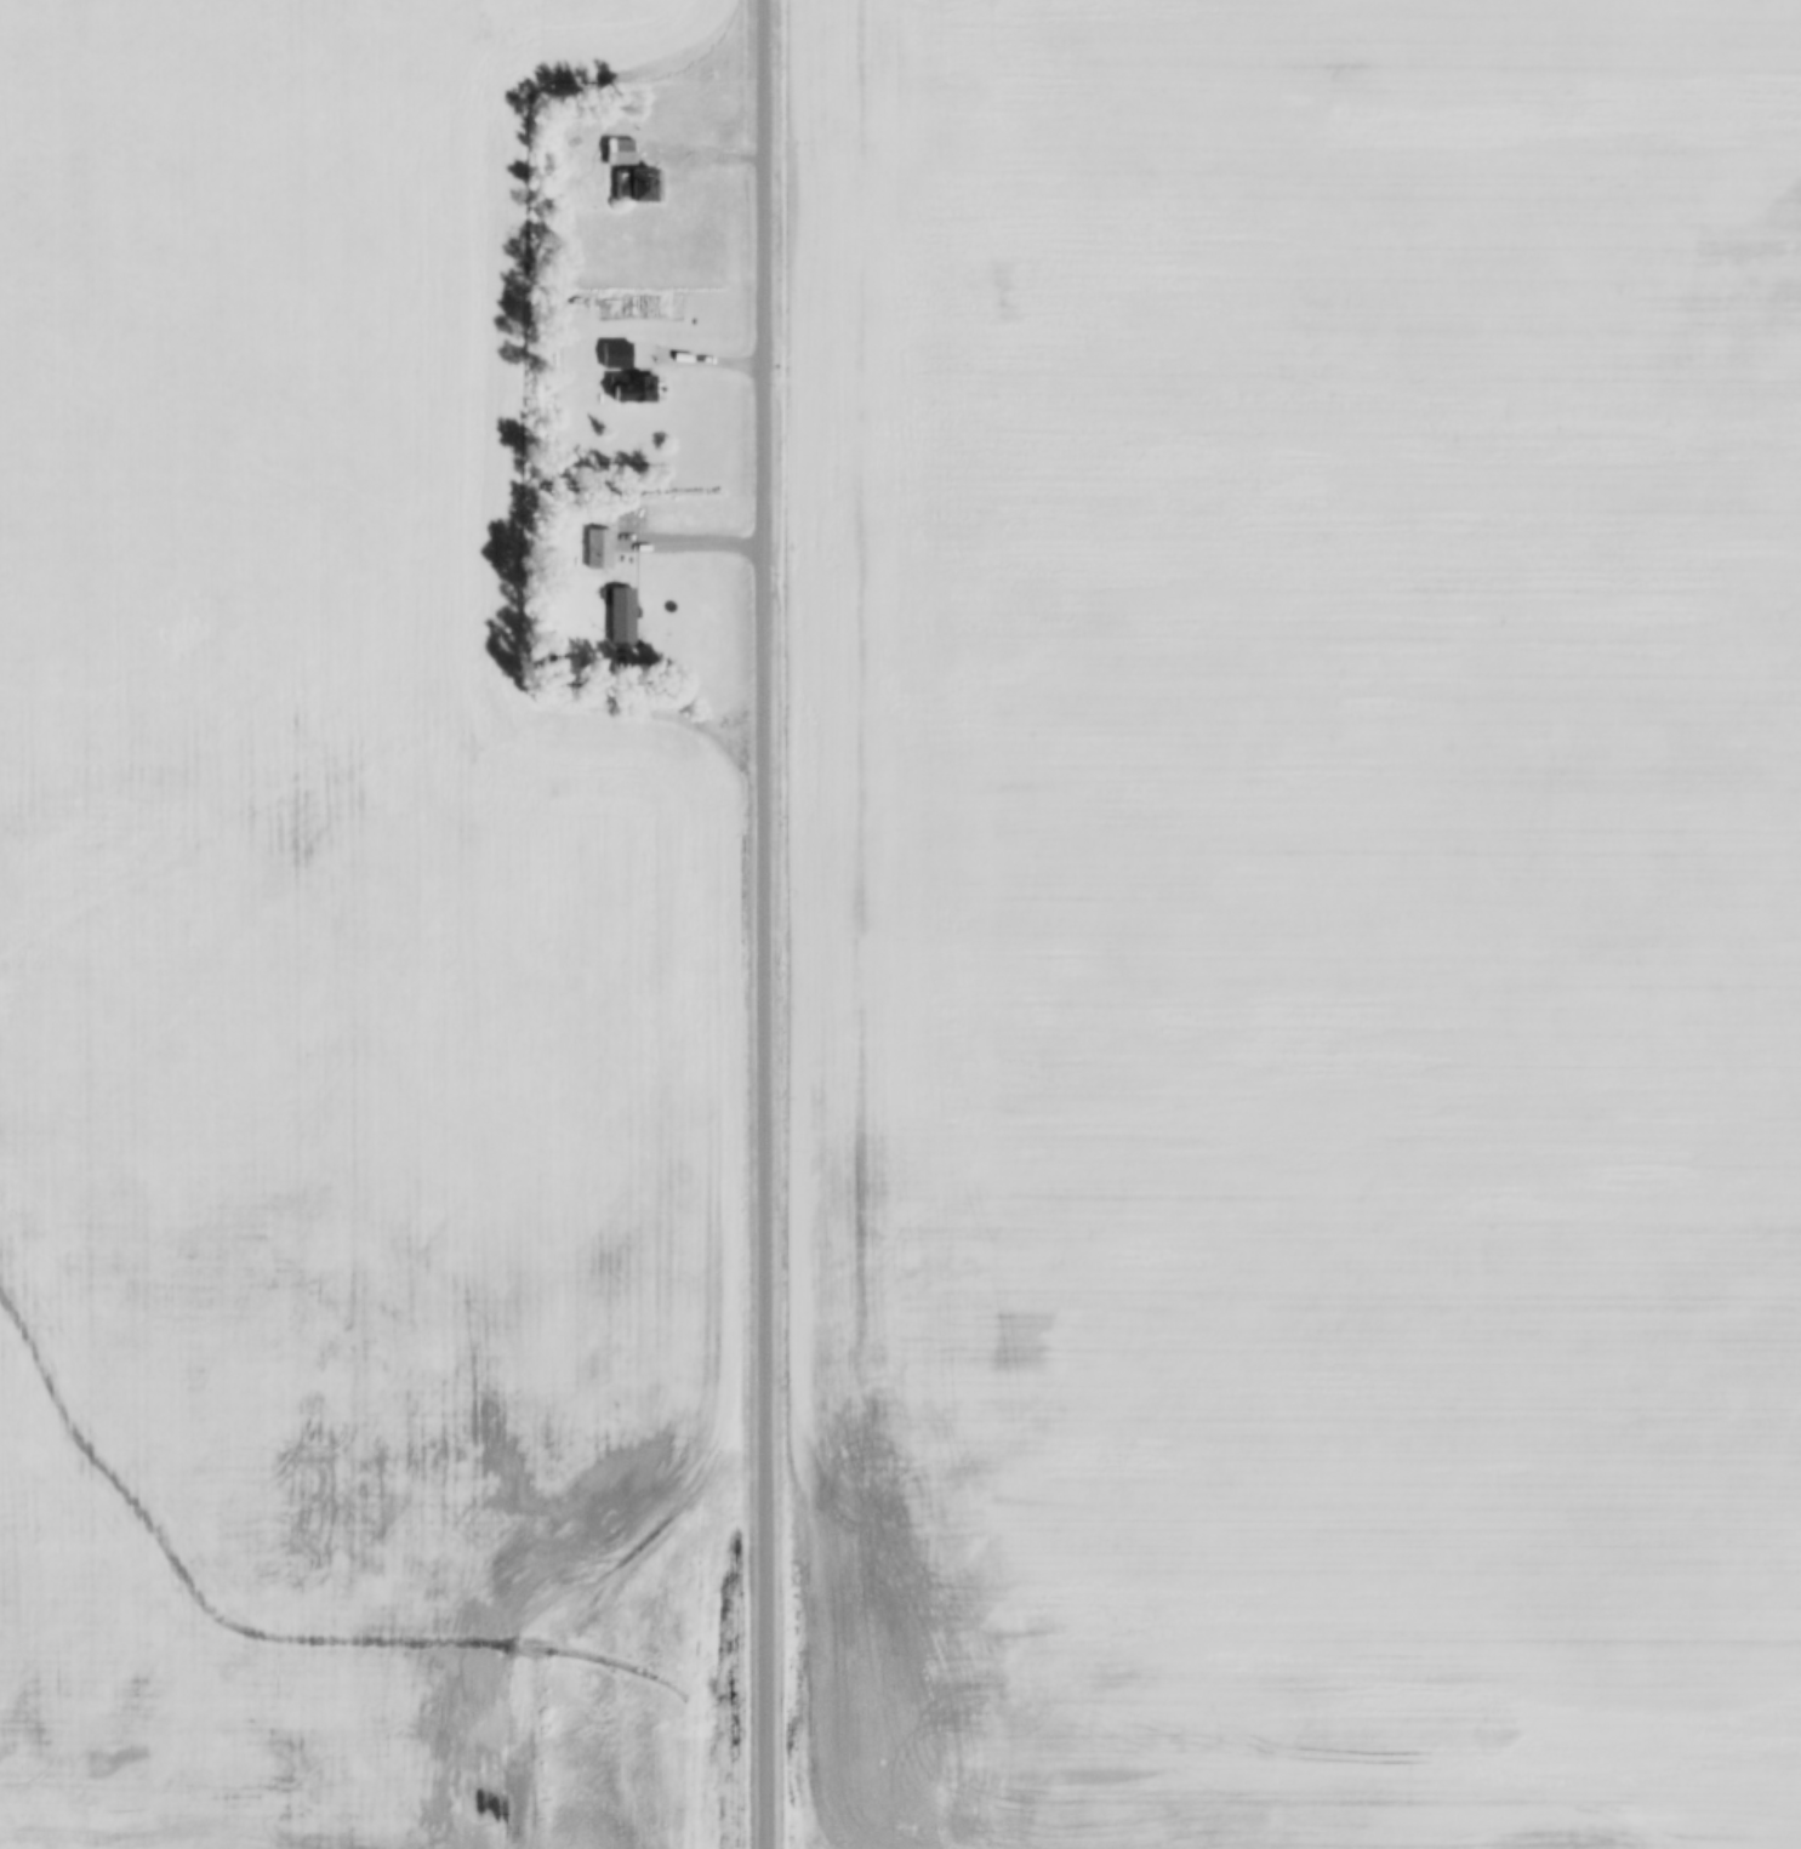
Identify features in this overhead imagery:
building: (625, 149)
building: (620, 353)
building: (633, 386)
building: (602, 547)
building: (625, 612)
road: (765, 924)

